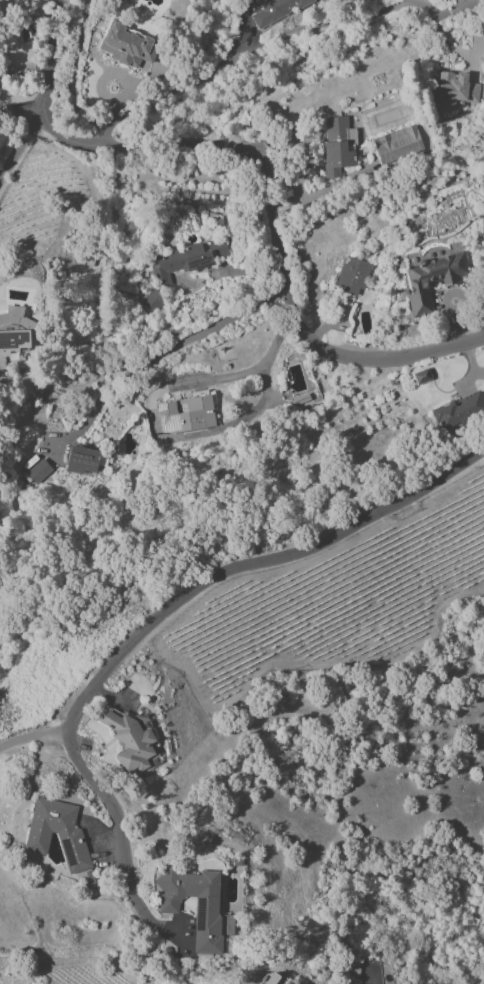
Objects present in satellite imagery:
building: (276, 10)
road: (440, 31)
building: (128, 48)
road: (47, 52)
building: (454, 91)
road: (177, 103)
road: (23, 108)
road: (21, 139)
building: (397, 141)
building: (337, 145)
road: (303, 175)
road: (55, 190)
road: (274, 223)
building: (184, 260)
building: (351, 277)
building: (430, 280)
building: (152, 301)
building: (13, 341)
road: (160, 352)
road: (240, 376)
building: (420, 376)
building: (459, 409)
building: (185, 414)
building: (82, 460)
building: (38, 471)
crop: (339, 598)
road: (157, 619)
road: (33, 737)
building: (131, 741)
building: (57, 833)
building: (195, 904)
building: (264, 979)

